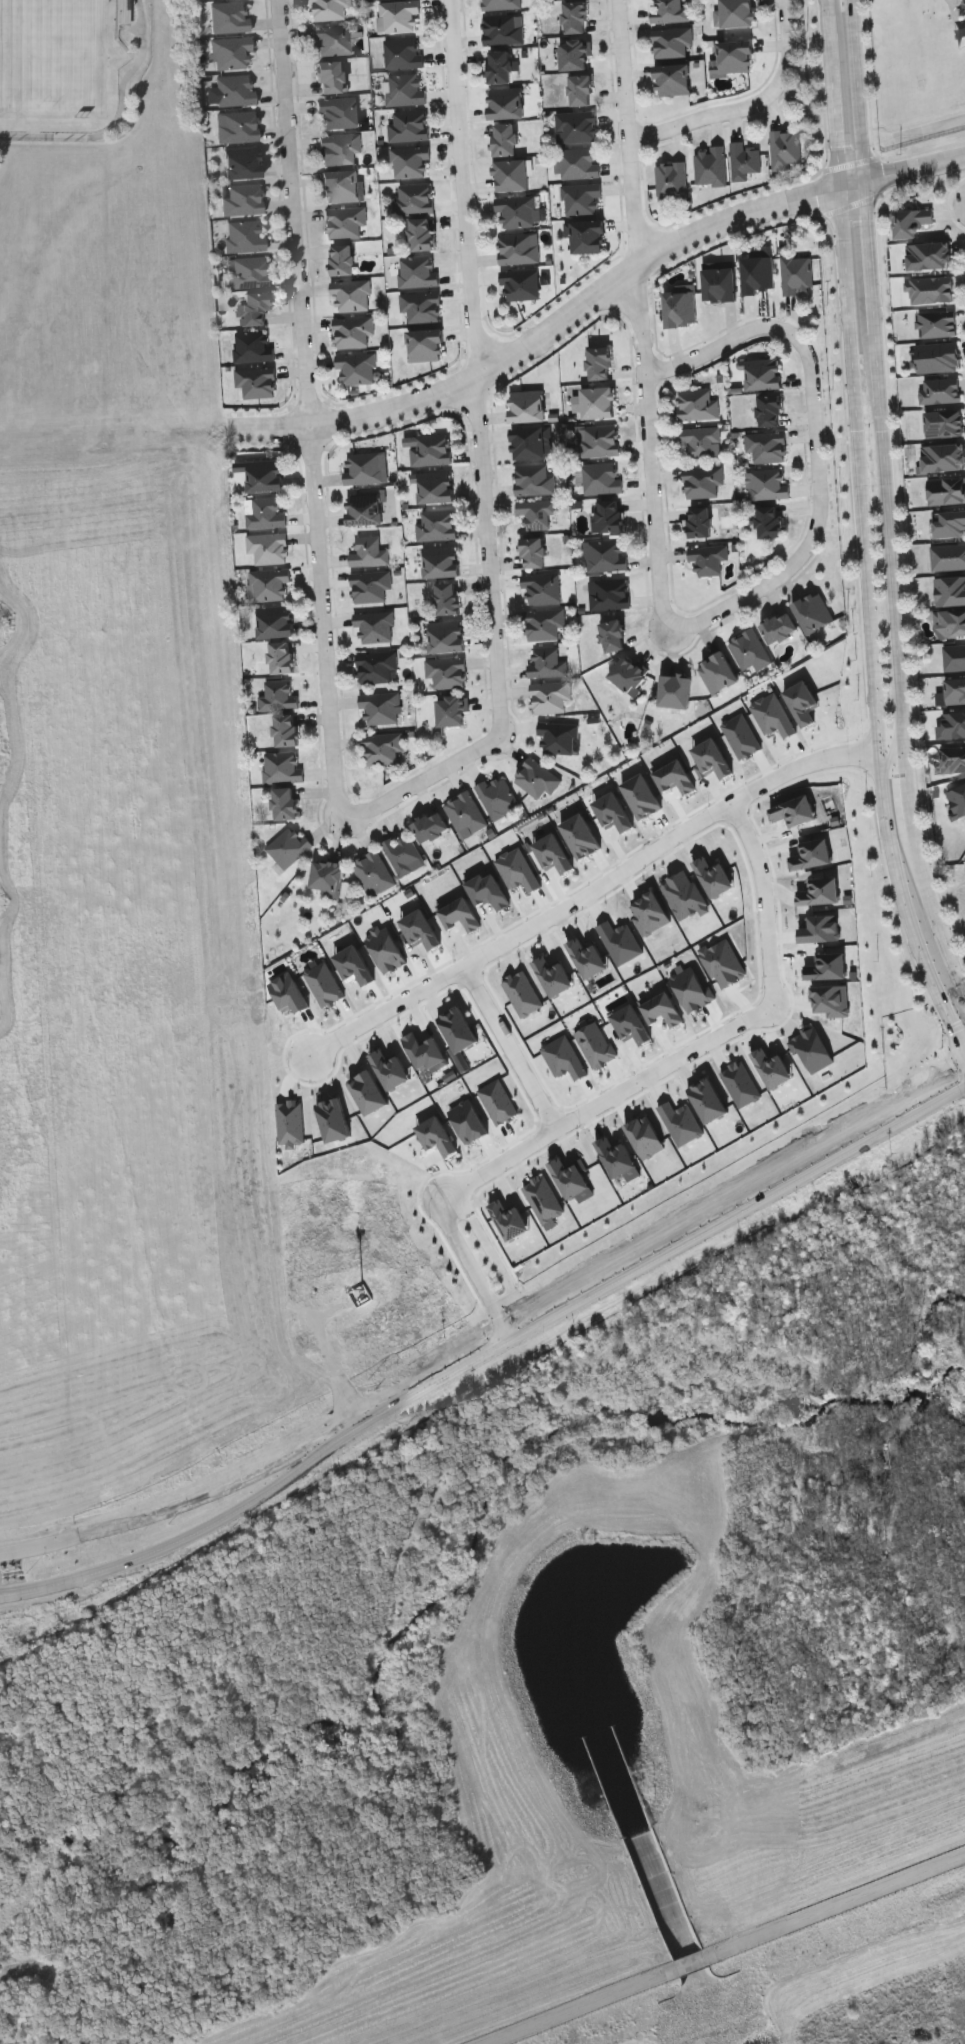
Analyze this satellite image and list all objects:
building: (499, 4)
building: (330, 10)
building: (670, 12)
building: (736, 13)
building: (399, 16)
building: (574, 17)
building: (229, 19)
building: (502, 30)
building: (333, 41)
building: (671, 42)
road: (789, 42)
park: (48, 52)
building: (231, 53)
building: (402, 54)
building: (574, 55)
building: (736, 57)
building: (499, 67)
building: (329, 79)
building: (672, 80)
building: (404, 89)
building: (580, 90)
road: (857, 90)
building: (235, 92)
road: (833, 94)
building: (505, 103)
building: (337, 114)
road: (710, 117)
building: (408, 125)
building: (576, 126)
building: (238, 128)
road: (630, 129)
building: (504, 140)
building: (340, 149)
building: (784, 149)
building: (743, 161)
building: (410, 162)
building: (579, 163)
building: (243, 164)
building: (710, 166)
road: (913, 168)
building: (511, 175)
building: (671, 182)
building: (340, 186)
road: (466, 187)
building: (413, 199)
building: (581, 199)
building: (242, 200)
building: (517, 211)
road: (294, 212)
road: (751, 213)
building: (909, 220)
building: (344, 222)
park: (100, 224)
building: (421, 235)
building: (245, 236)
building: (586, 236)
building: (518, 248)
building: (927, 254)
building: (341, 261)
building: (417, 272)
building: (248, 273)
building: (796, 274)
building: (757, 275)
building: (520, 284)
building: (719, 285)
building: (929, 288)
building: (351, 295)
road: (872, 305)
building: (420, 306)
building: (680, 309)
road: (848, 309)
building: (253, 310)
building: (935, 322)
building: (353, 332)
building: (426, 346)
building: (253, 347)
building: (936, 356)
building: (598, 364)
building: (356, 368)
building: (764, 376)
building: (255, 383)
road: (452, 386)
building: (939, 389)
building: (598, 404)
building: (697, 405)
building: (527, 406)
building: (770, 412)
building: (943, 423)
building: (597, 441)
building: (701, 442)
building: (531, 443)
road: (815, 443)
building: (766, 447)
building: (428, 450)
road: (658, 452)
building: (942, 456)
building: (366, 468)
building: (262, 475)
building: (601, 478)
building: (533, 480)
building: (702, 482)
building: (766, 485)
building: (435, 488)
building: (946, 490)
building: (364, 509)
building: (536, 513)
building: (264, 514)
building: (610, 516)
building: (700, 522)
building: (769, 522)
building: (949, 522)
building: (436, 525)
building: (268, 548)
building: (369, 552)
building: (533, 552)
road: (492, 555)
building: (605, 555)
building: (948, 557)
building: (707, 559)
building: (441, 562)
building: (270, 585)
building: (370, 586)
building: (541, 588)
building: (949, 589)
building: (610, 594)
building: (448, 598)
building: (813, 611)
building: (949, 621)
building: (275, 622)
road: (324, 622)
building: (543, 624)
building: (374, 627)
building: (779, 628)
building: (612, 635)
building: (446, 637)
building: (749, 651)
building: (281, 656)
building: (954, 656)
building: (547, 663)
building: (376, 667)
building: (446, 672)
building: (717, 672)
building: (627, 674)
building: (674, 690)
building: (952, 692)
building: (278, 696)
building: (549, 697)
building: (803, 703)
building: (379, 708)
building: (451, 711)
road: (901, 715)
building: (773, 716)
building: (952, 725)
building: (285, 729)
building: (742, 736)
building: (558, 738)
road: (876, 742)
building: (382, 747)
building: (952, 756)
building: (711, 760)
building: (281, 768)
building: (675, 778)
road: (428, 779)
building: (535, 779)
building: (642, 796)
building: (496, 797)
building: (957, 798)
building: (284, 803)
building: (795, 811)
building: (614, 813)
building: (464, 815)
building: (430, 827)
building: (581, 836)
building: (288, 847)
building: (553, 853)
building: (403, 855)
building: (812, 855)
building: (518, 870)
building: (372, 873)
building: (714, 877)
building: (327, 878)
road: (604, 884)
building: (489, 891)
building: (820, 892)
building: (684, 895)
building: (650, 913)
building: (460, 915)
building: (821, 929)
building: (421, 930)
building: (621, 942)
building: (386, 949)
building: (588, 958)
building: (724, 963)
building: (354, 965)
building: (828, 967)
building: (554, 977)
building: (325, 984)
building: (692, 990)
building: (289, 994)
building: (523, 994)
building: (831, 1001)
building: (663, 1010)
building: (631, 1025)
building: (458, 1030)
building: (595, 1045)
road: (509, 1046)
building: (812, 1049)
building: (425, 1051)
road: (692, 1052)
building: (564, 1058)
building: (772, 1068)
building: (391, 1070)
building: (741, 1084)
building: (369, 1093)
building: (708, 1100)
building: (498, 1102)
building: (334, 1120)
building: (469, 1121)
building: (291, 1123)
building: (682, 1123)
building: (436, 1136)
building: (645, 1137)
building: (619, 1159)
building: (571, 1177)
building: (544, 1199)
building: (510, 1220)
road: (496, 1257)
road: (638, 1267)
road: (474, 1270)
road: (269, 1493)
road: (159, 1515)
road: (115, 1577)
road: (723, 1949)
park: (899, 2018)

